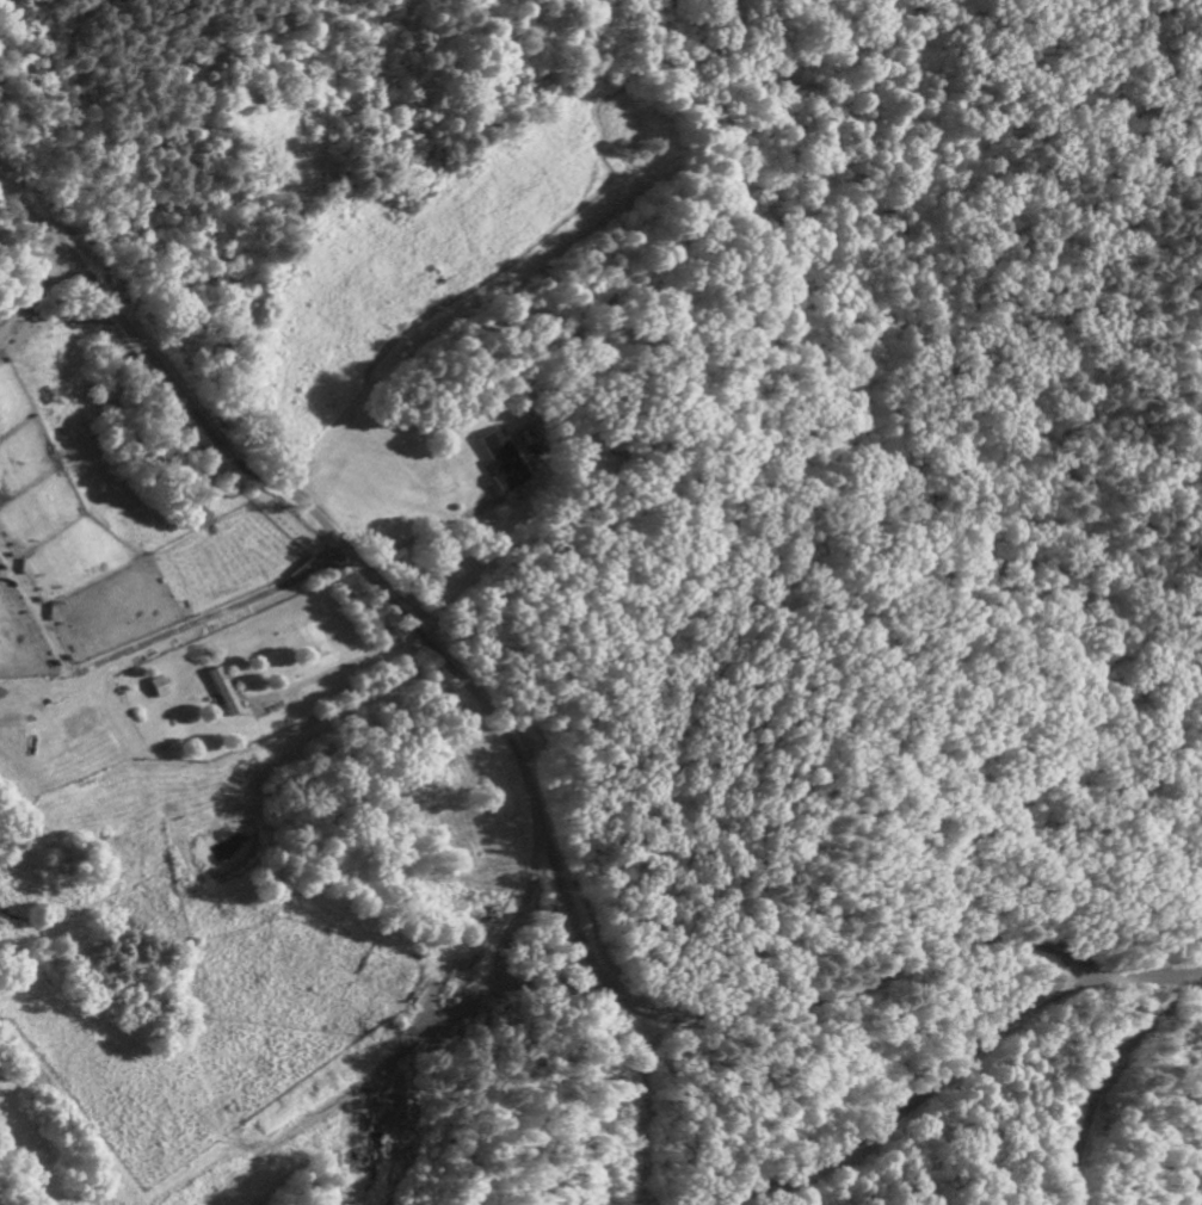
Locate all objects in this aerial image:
building: (504, 464)
road: (338, 669)
building: (224, 696)
road: (517, 767)
road: (440, 1043)
road: (958, 1071)
road: (1096, 1093)

